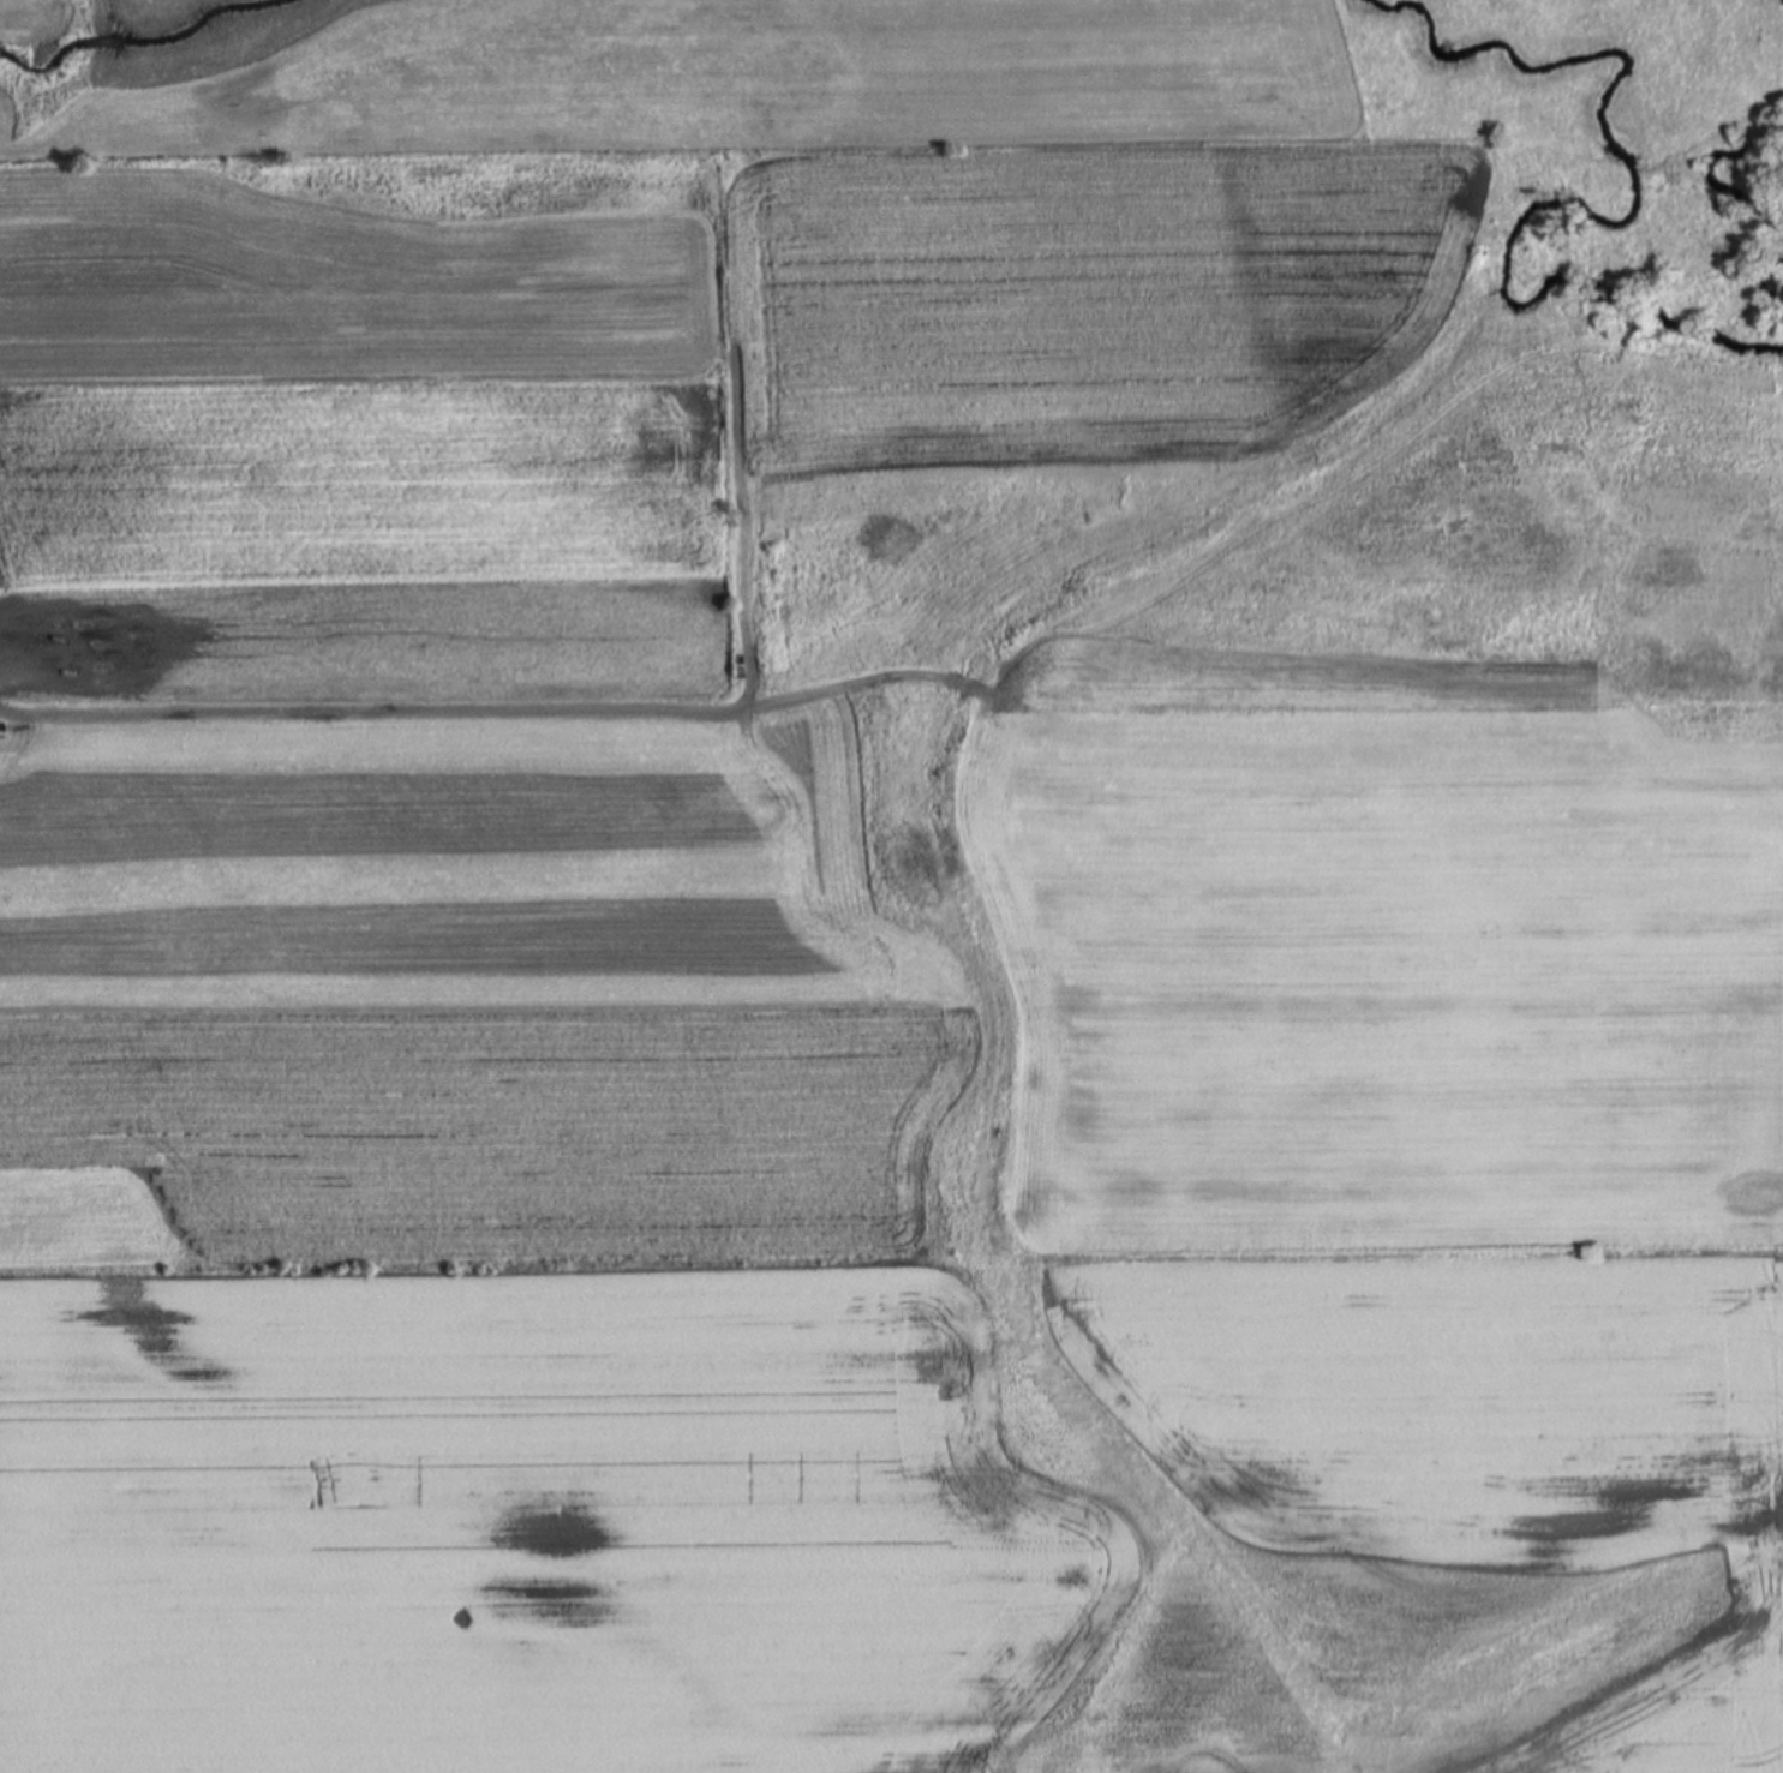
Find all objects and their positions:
road: (495, 708)

